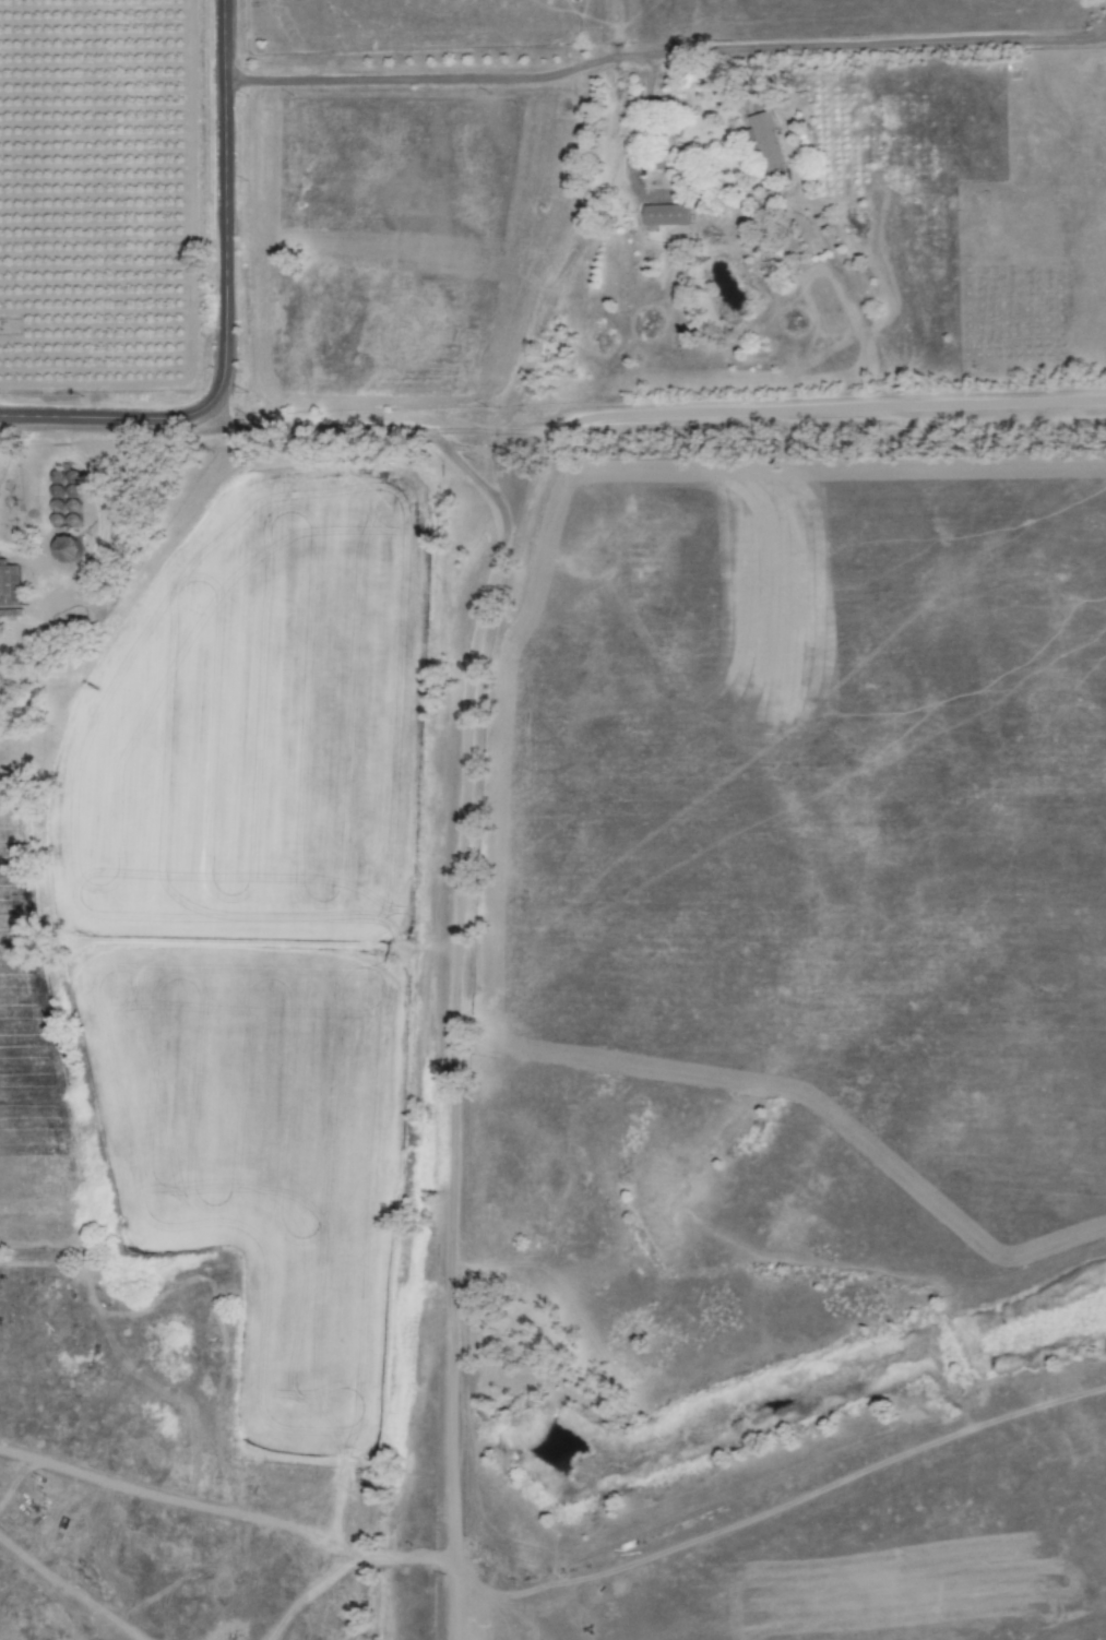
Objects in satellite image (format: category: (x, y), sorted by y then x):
road: (664, 61)
building: (768, 143)
building: (667, 215)
road: (223, 310)
road: (742, 421)
road: (328, 424)
building: (10, 585)
road: (472, 991)
road: (781, 1469)
road: (233, 1512)
road: (464, 1566)

